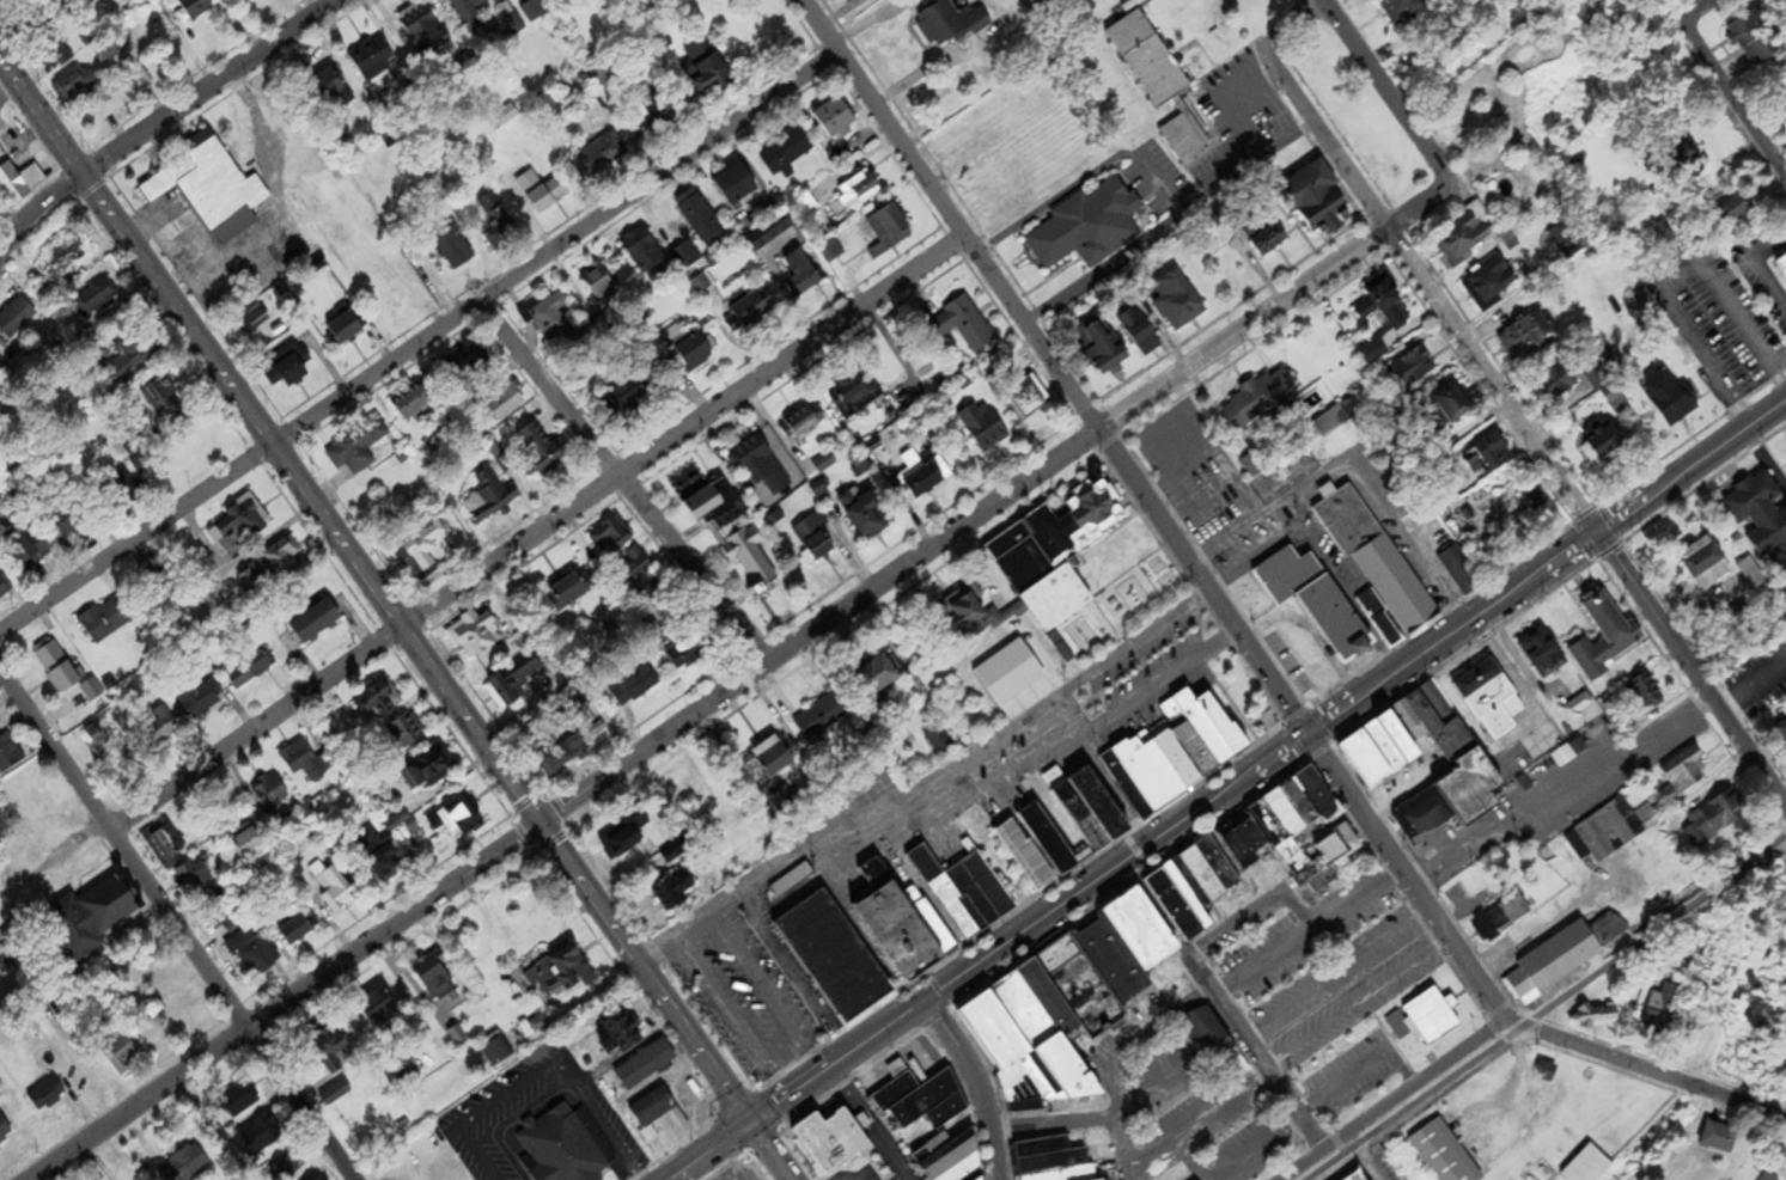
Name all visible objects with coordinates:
building: (195, 8)
building: (1403, 8)
building: (468, 11)
building: (534, 11)
road: (840, 12)
road: (1684, 16)
building: (949, 24)
building: (423, 30)
building: (1750, 41)
building: (57, 51)
building: (372, 60)
building: (706, 69)
building: (72, 84)
building: (1160, 84)
road: (215, 88)
road: (1386, 91)
building: (124, 92)
building: (330, 92)
road: (1736, 105)
building: (656, 112)
building: (1782, 116)
building: (835, 117)
building: (786, 152)
building: (598, 157)
building: (18, 183)
building: (737, 187)
building: (859, 188)
building: (1006, 188)
building: (211, 189)
building: (543, 191)
building: (1316, 200)
building: (1735, 210)
building: (700, 218)
road: (39, 219)
building: (496, 222)
building: (1089, 226)
building: (889, 231)
building: (1465, 237)
building: (1508, 237)
building: (1566, 240)
building: (455, 249)
building: (642, 251)
building: (66, 255)
building: (685, 256)
building: (1782, 265)
road: (1408, 269)
building: (800, 274)
building: (602, 279)
building: (700, 285)
building: (1491, 285)
building: (97, 298)
building: (1177, 301)
building: (1384, 304)
building: (752, 310)
road: (1273, 311)
building: (16, 317)
building: (549, 317)
building: (963, 325)
building: (260, 326)
building: (347, 328)
building: (1140, 332)
building: (1529, 336)
road: (421, 346)
building: (689, 349)
building: (1107, 350)
building: (1372, 353)
building: (130, 357)
building: (463, 362)
building: (288, 367)
road: (1055, 367)
building: (1414, 369)
building: (1555, 384)
road: (1477, 389)
road: (1513, 392)
building: (4, 395)
building: (634, 396)
building: (852, 396)
building: (1666, 396)
building: (163, 399)
building: (1260, 399)
building: (1030, 403)
building: (1455, 404)
building: (506, 405)
building: (414, 406)
building: (801, 422)
building: (1330, 423)
building: (983, 428)
road: (1731, 436)
road: (1688, 438)
building: (1604, 444)
building: (356, 447)
building: (542, 451)
building: (1491, 456)
road: (1763, 463)
building: (762, 466)
building: (921, 475)
road: (626, 483)
road: (1701, 483)
building: (118, 493)
building: (487, 499)
building: (1534, 499)
road: (1635, 502)
road: (1595, 507)
road: (1580, 513)
building: (1760, 514)
building: (864, 515)
building: (69, 521)
road: (1607, 525)
building: (239, 526)
traffic signals: (1596, 531)
road: (542, 532)
building: (610, 538)
building: (743, 538)
building: (815, 538)
road: (1584, 539)
road: (1538, 542)
road: (1607, 549)
building: (32, 550)
building: (428, 550)
building: (1056, 555)
road: (1560, 555)
building: (1377, 560)
building: (1707, 567)
building: (636, 568)
building: (272, 569)
building: (1462, 571)
building: (4, 588)
building: (153, 588)
road: (372, 592)
building: (569, 593)
building: (1318, 603)
road: (1628, 607)
building: (975, 616)
building: (106, 620)
building: (316, 624)
building: (474, 635)
building: (1605, 637)
building: (687, 652)
building: (1543, 653)
building: (993, 655)
road: (1416, 658)
building: (56, 670)
building: (251, 671)
road: (1689, 671)
road: (1512, 677)
building: (876, 679)
building: (511, 684)
road: (1750, 685)
building: (634, 686)
building: (1645, 695)
building: (1489, 697)
building: (200, 699)
building: (378, 701)
building: (1578, 708)
building: (591, 716)
building: (817, 720)
road: (1675, 721)
building: (160, 726)
building: (404, 733)
building: (1784, 734)
traffic signals: (1308, 735)
building: (939, 740)
building: (1571, 752)
building: (1175, 753)
building: (1424, 753)
building: (8, 754)
building: (563, 757)
building: (303, 760)
building: (772, 764)
building: (427, 769)
road: (1098, 775)
building: (1684, 776)
road: (927, 789)
road: (1258, 790)
building: (23, 791)
building: (270, 794)
road: (568, 803)
building: (463, 815)
building: (1421, 815)
building: (1714, 818)
road: (1507, 823)
building: (1063, 830)
building: (1607, 830)
building: (1293, 832)
building: (628, 836)
building: (249, 843)
building: (165, 845)
building: (379, 856)
building: (193, 878)
building: (330, 887)
building: (675, 889)
building: (1199, 889)
building: (965, 892)
road: (1250, 906)
building: (217, 907)
building: (97, 917)
building: (1501, 918)
road: (181, 922)
building: (900, 923)
building: (1611, 927)
road: (1029, 928)
building: (299, 929)
road: (1308, 933)
building: (250, 954)
building: (836, 959)
building: (1555, 961)
building: (563, 972)
road: (1337, 973)
building: (434, 977)
road: (1354, 999)
road: (1489, 1001)
building: (1069, 1002)
building: (376, 1007)
road: (1548, 1009)
building: (1664, 1009)
building: (1598, 1017)
building: (1425, 1019)
building: (617, 1034)
building: (1214, 1045)
building: (333, 1051)
building: (500, 1051)
road: (1254, 1051)
building: (121, 1053)
building: (646, 1065)
building: (1547, 1071)
road: (979, 1083)
building: (336, 1094)
building: (45, 1095)
building: (240, 1099)
building: (920, 1099)
road: (1392, 1101)
building: (651, 1113)
road: (1091, 1118)
traffic signals: (751, 1121)
road: (1189, 1121)
building: (5, 1131)
building: (821, 1131)
building: (258, 1137)
building: (1720, 1138)
road: (1116, 1141)
building: (560, 1149)
road: (708, 1150)
road: (772, 1150)
building: (1445, 1154)
building: (950, 1157)
building: (1053, 1160)
building: (1779, 1161)
building: (184, 1164)
road: (1230, 1164)
building: (1589, 1166)
building: (287, 1168)
building: (982, 1179)
building: (1108, 1179)

